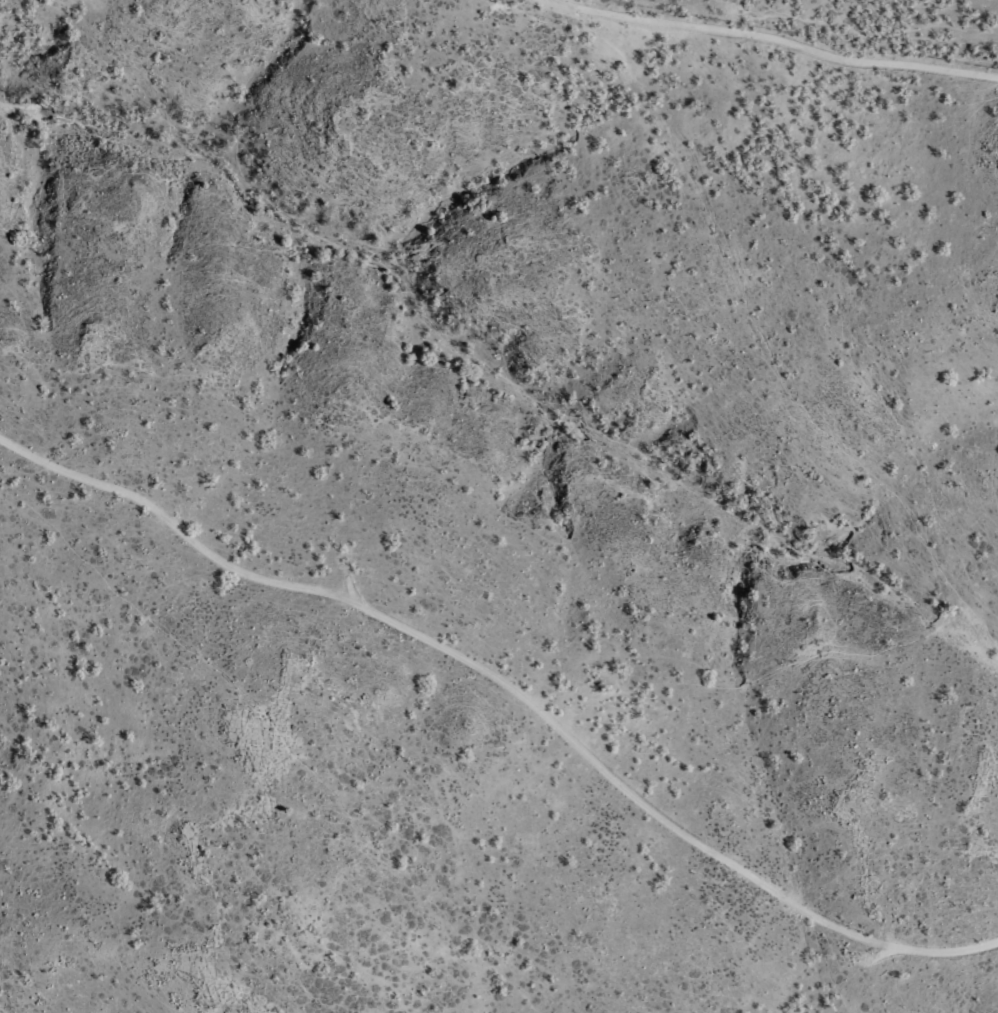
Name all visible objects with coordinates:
road: (779, 45)
road: (505, 693)

